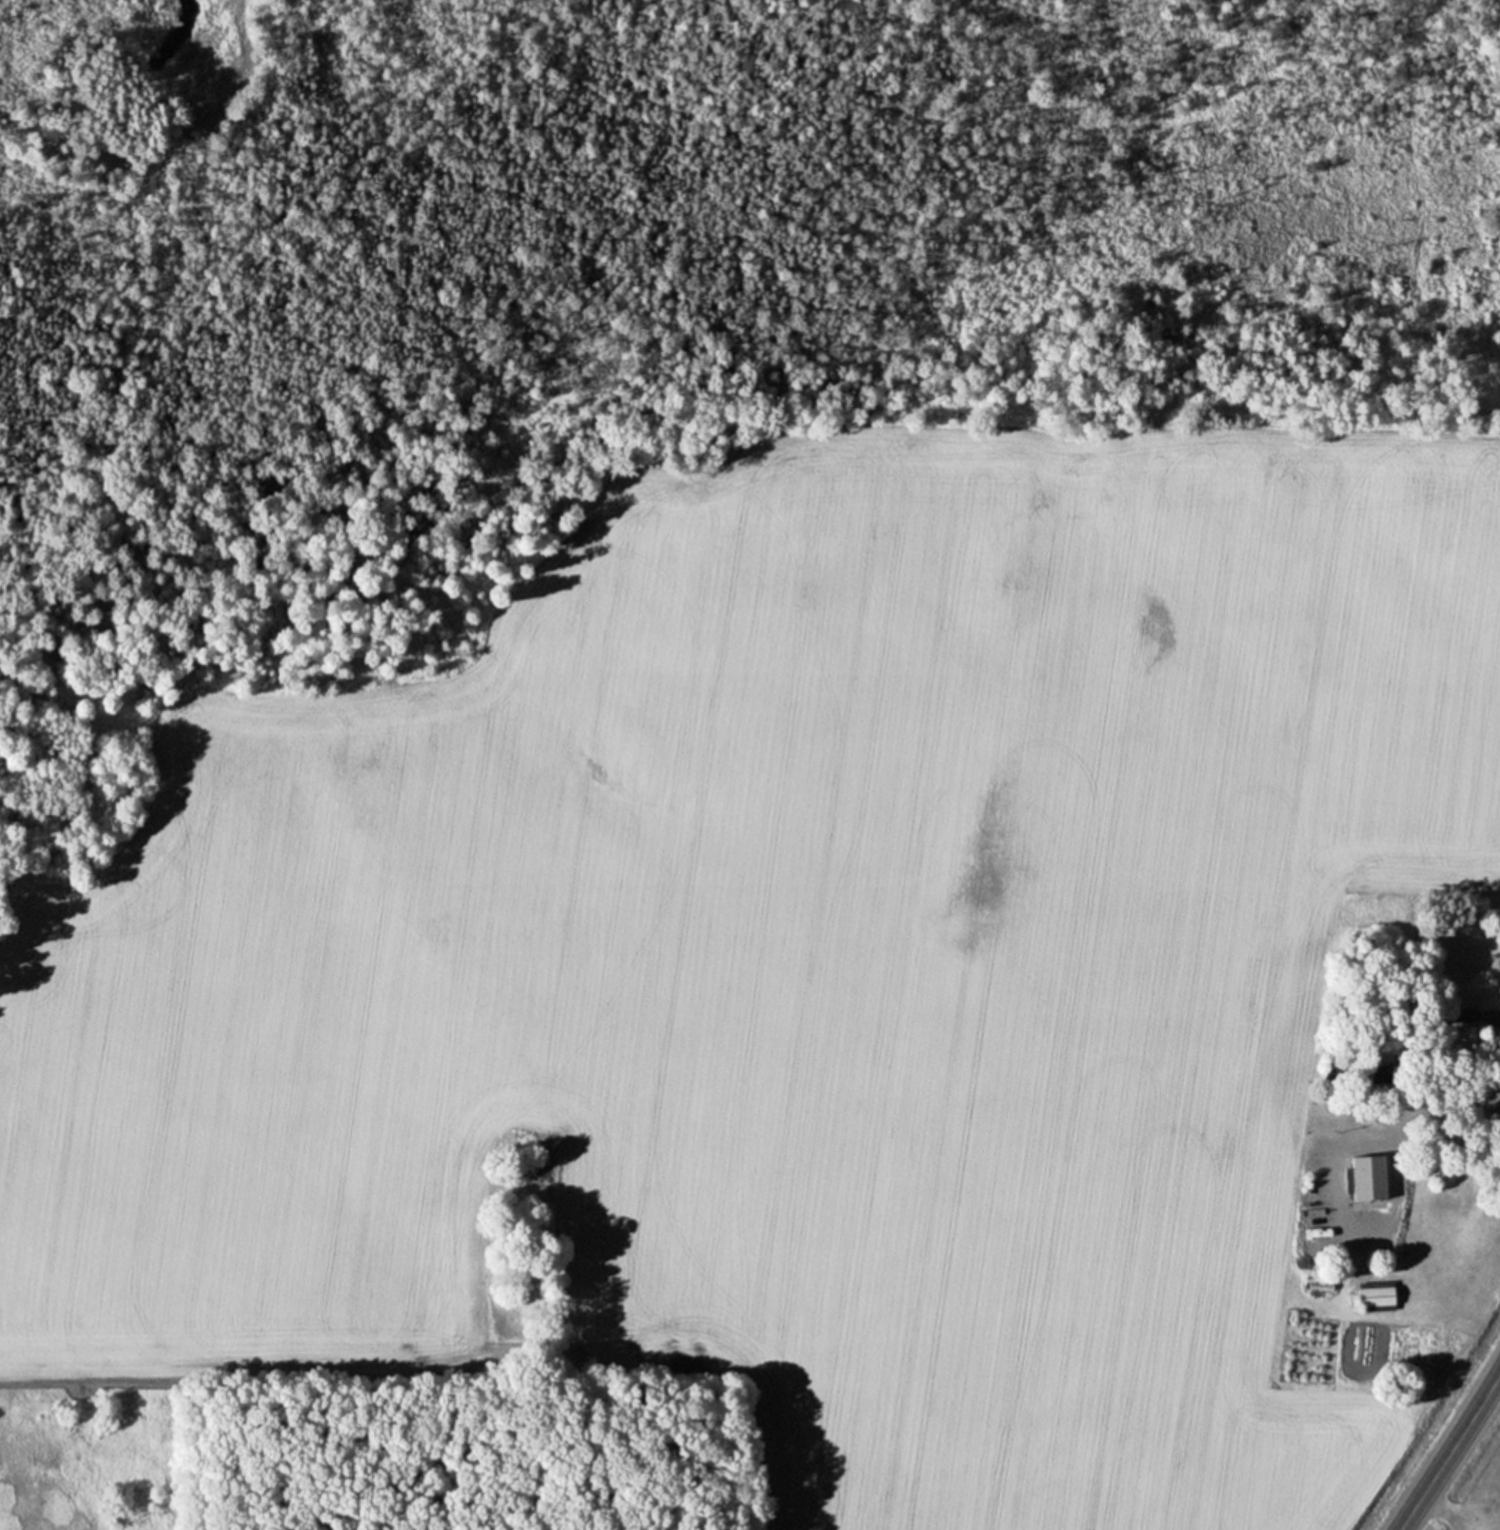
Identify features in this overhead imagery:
building: (1473, 1016)
road: (1442, 1110)
building: (1368, 1178)
building: (1377, 1299)
road: (1450, 1449)

